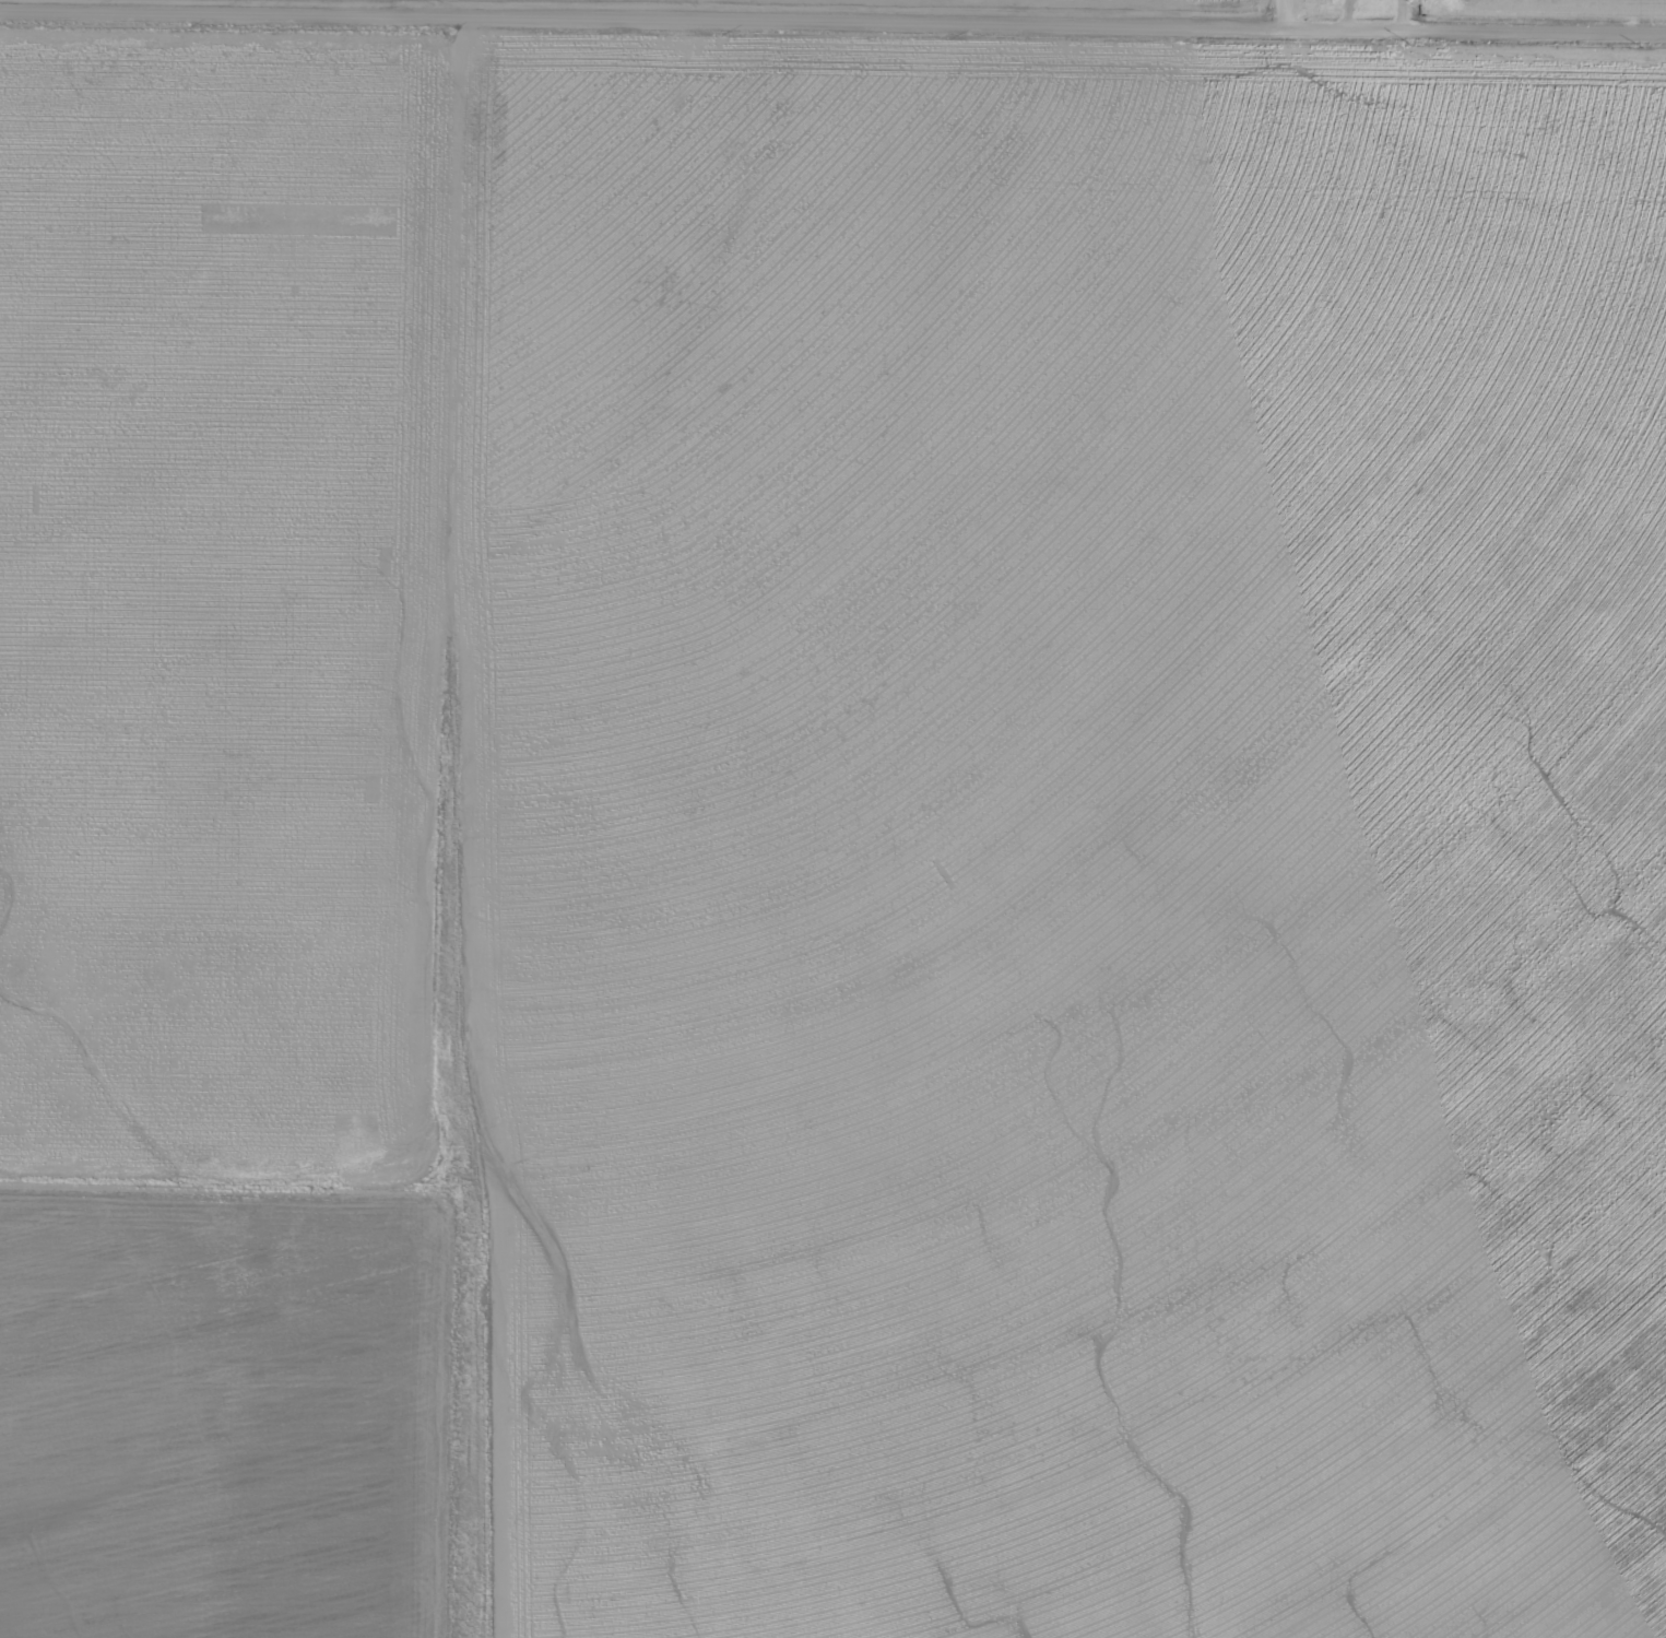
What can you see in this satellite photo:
road: (832, 45)

